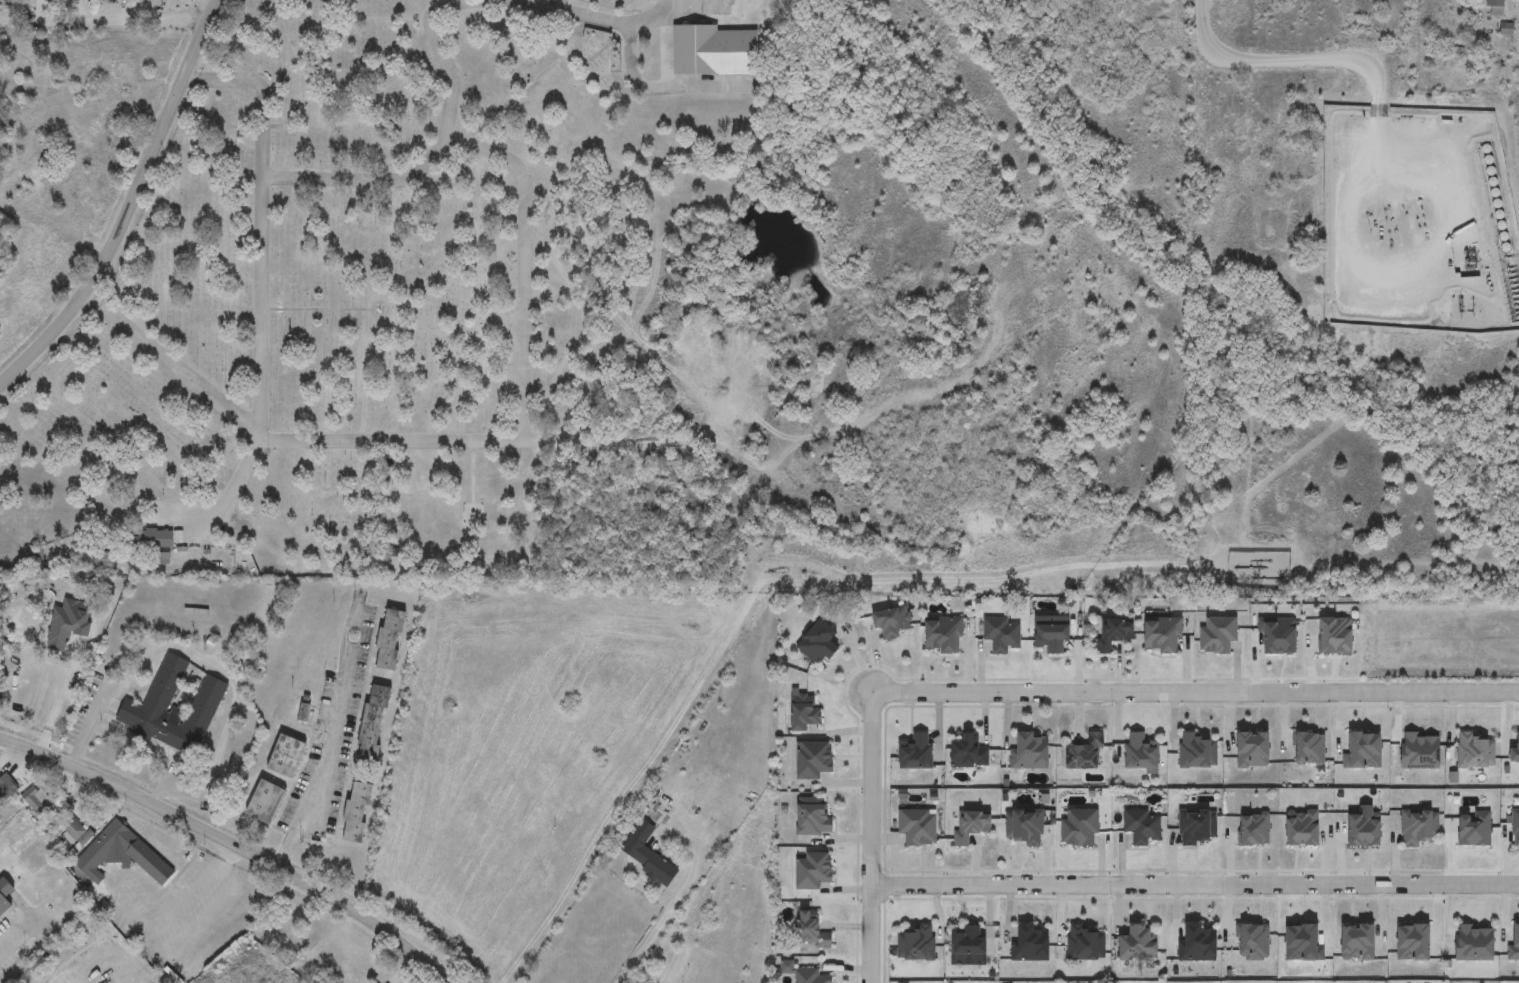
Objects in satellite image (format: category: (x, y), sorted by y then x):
building: (23, 2)
road: (696, 6)
building: (1497, 7)
road: (137, 19)
road: (596, 19)
road: (665, 49)
building: (714, 51)
road: (1276, 55)
road: (663, 86)
road: (261, 92)
road: (436, 149)
road: (131, 208)
road: (258, 306)
park: (417, 315)
road: (172, 365)
road: (523, 393)
road: (784, 457)
road: (231, 490)
building: (156, 539)
road: (755, 591)
building: (892, 622)
building: (1115, 634)
building: (1002, 635)
building: (1219, 635)
building: (944, 636)
building: (1164, 636)
building: (1053, 638)
building: (391, 640)
building: (820, 643)
road: (208, 661)
road: (1194, 694)
building: (173, 711)
building: (806, 714)
building: (373, 726)
building: (1198, 751)
building: (1477, 751)
building: (917, 752)
building: (1032, 752)
building: (1140, 752)
building: (1422, 752)
building: (970, 753)
building: (1516, 753)
building: (1085, 754)
building: (286, 757)
building: (813, 761)
road: (324, 765)
building: (6, 788)
building: (266, 802)
building: (44, 808)
building: (357, 812)
building: (814, 818)
building: (973, 825)
building: (1142, 826)
building: (1419, 826)
building: (918, 827)
building: (1197, 827)
building: (1516, 827)
building: (1026, 828)
building: (1080, 828)
building: (1475, 830)
building: (74, 833)
road: (869, 839)
road: (236, 846)
building: (647, 854)
building: (123, 855)
building: (814, 870)
road: (195, 882)
road: (1194, 885)
building: (4, 897)
road: (675, 903)
building: (813, 931)
road: (16, 932)
building: (970, 942)
building: (1033, 944)
building: (1085, 944)
building: (1140, 944)
building: (1199, 944)
building: (1477, 944)
building: (918, 945)
building: (814, 976)
building: (641, 981)

